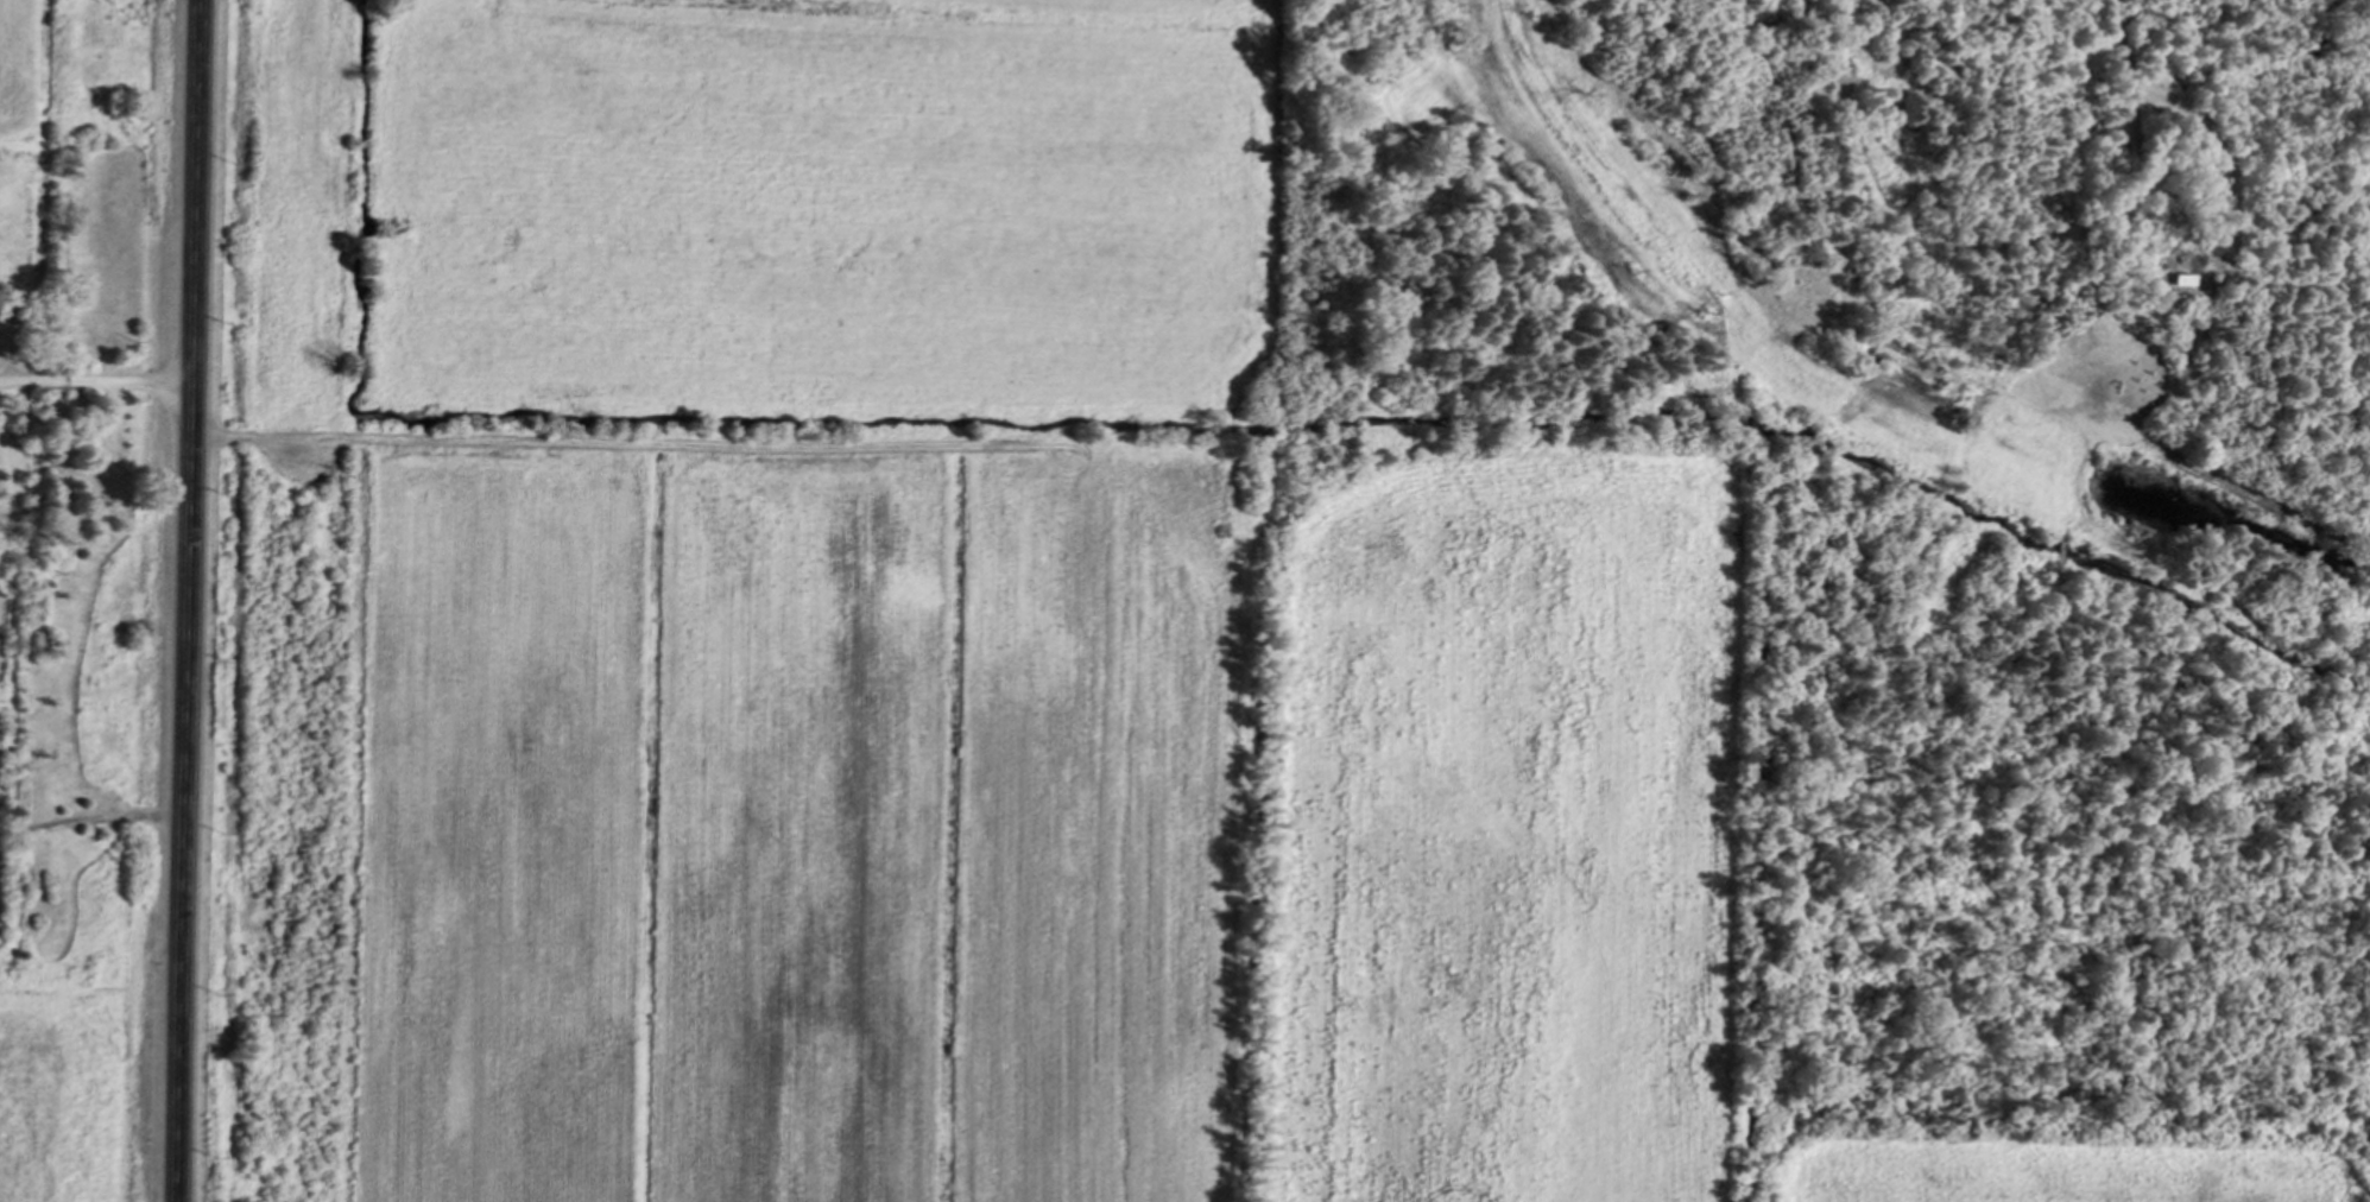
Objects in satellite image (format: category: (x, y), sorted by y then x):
road: (2119, 39)
building: (2174, 78)
road: (112, 436)
road: (185, 600)
crop: (808, 816)

